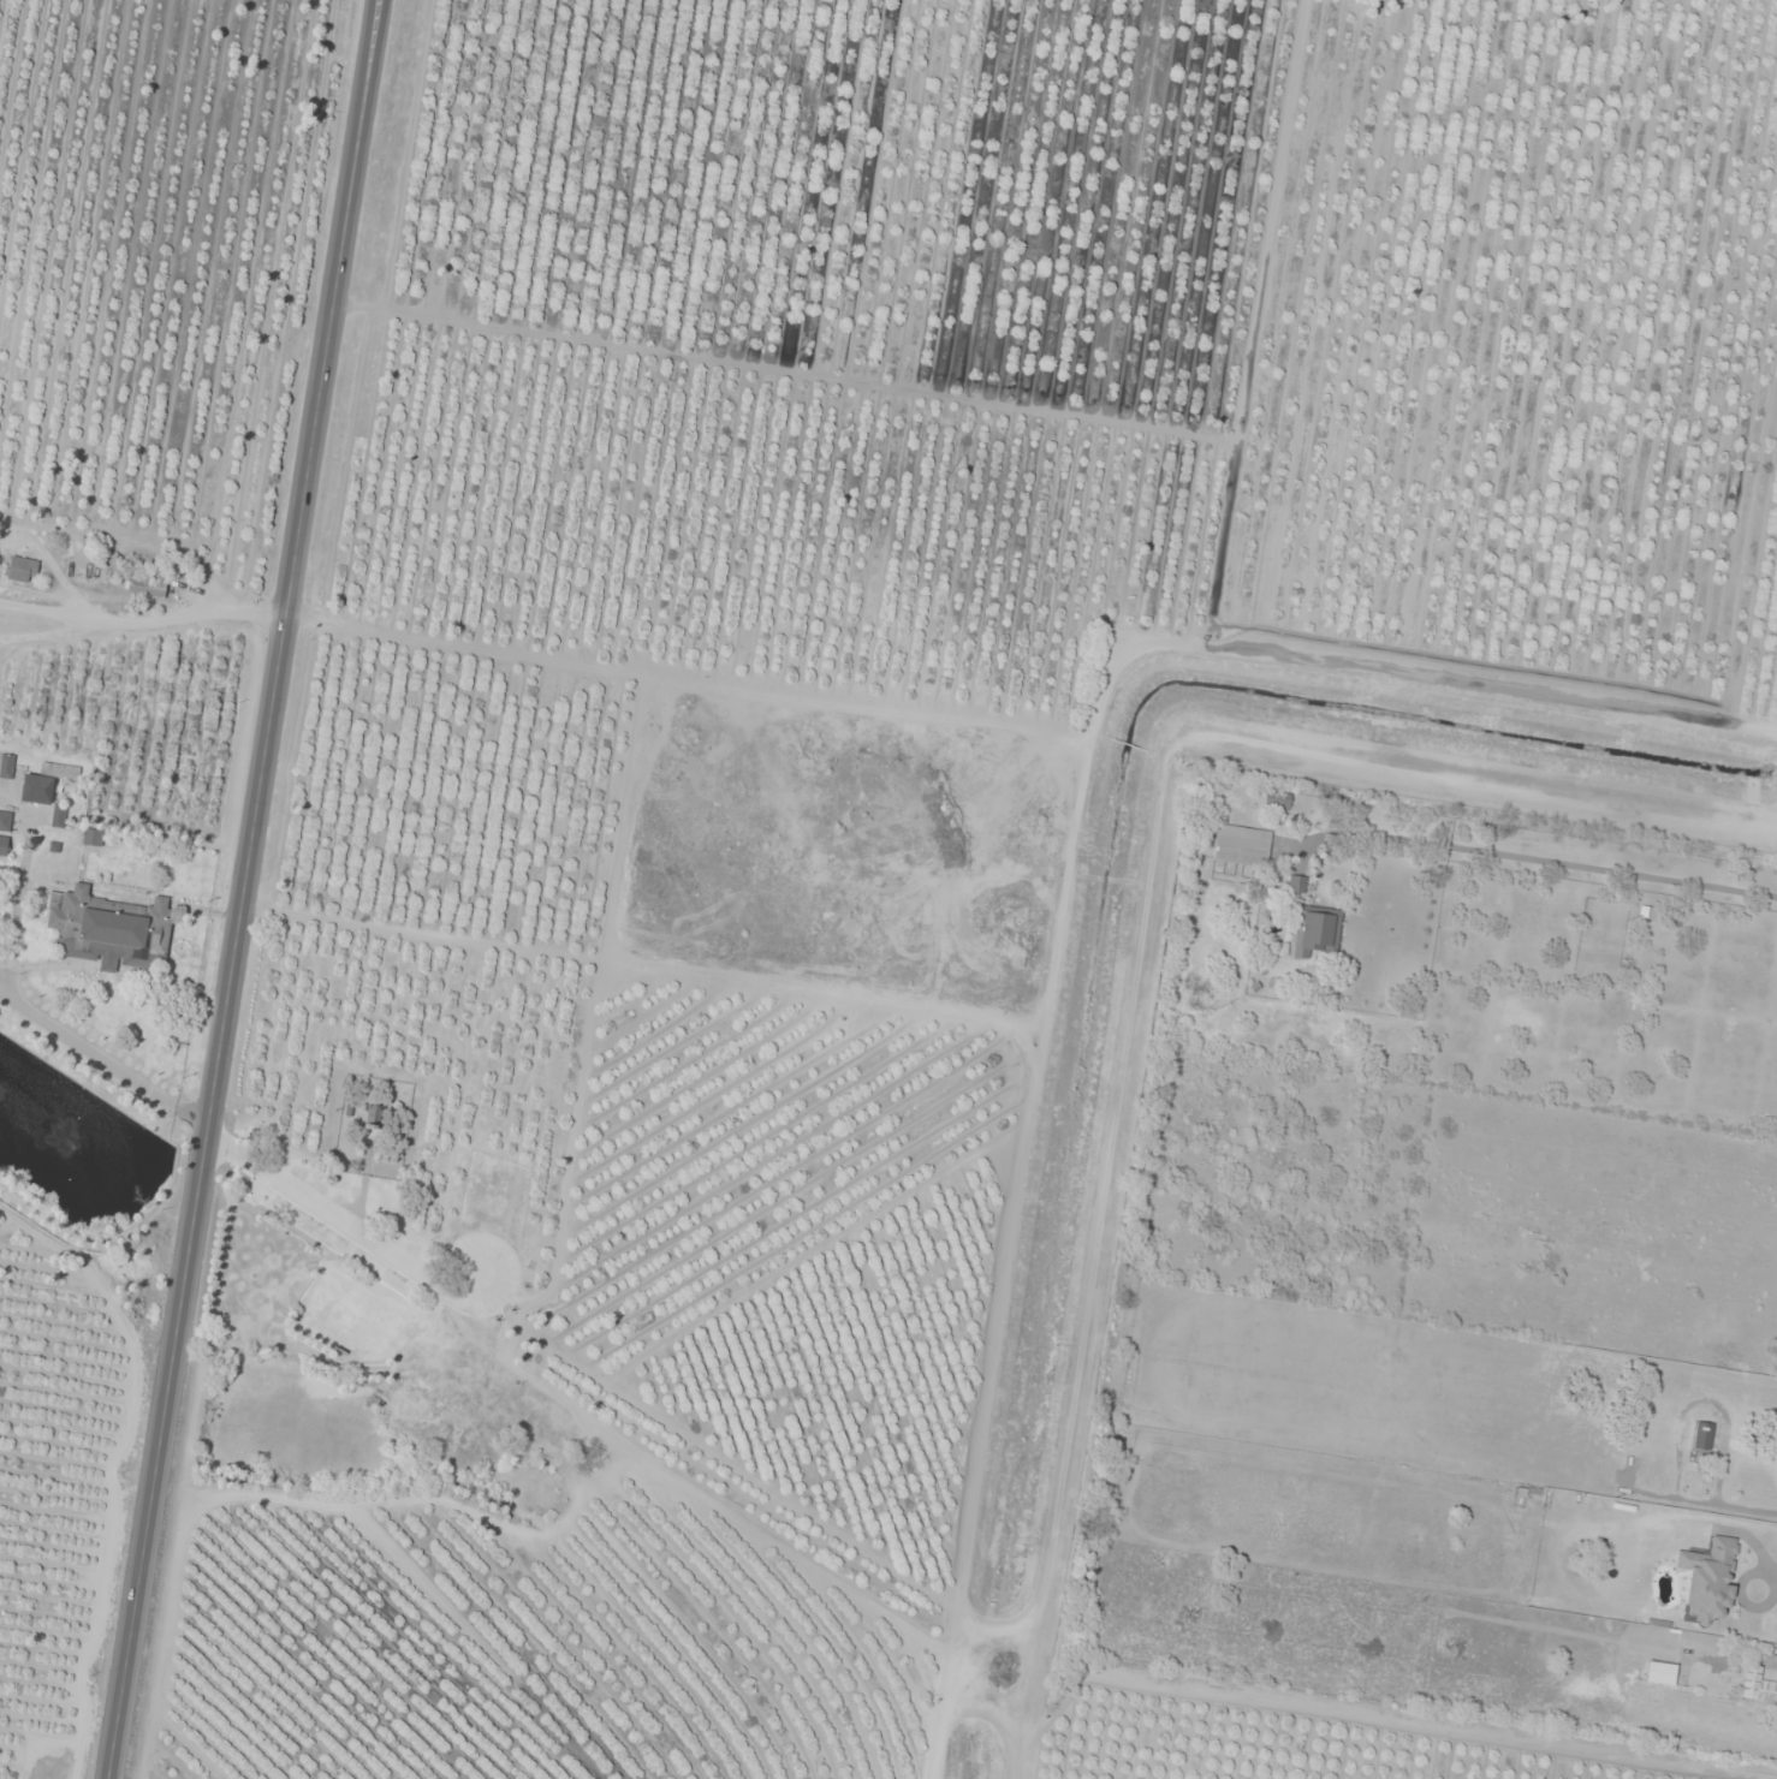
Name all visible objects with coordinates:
building: (22, 570)
building: (7, 767)
building: (46, 783)
building: (1278, 801)
building: (60, 816)
building: (5, 821)
building: (93, 838)
building: (4, 846)
building: (1242, 846)
building: (1296, 885)
road: (250, 889)
building: (111, 930)
building: (1315, 932)
road: (108, 1057)
building: (374, 1118)
building: (1617, 1361)
building: (1660, 1673)
building: (1758, 1688)

